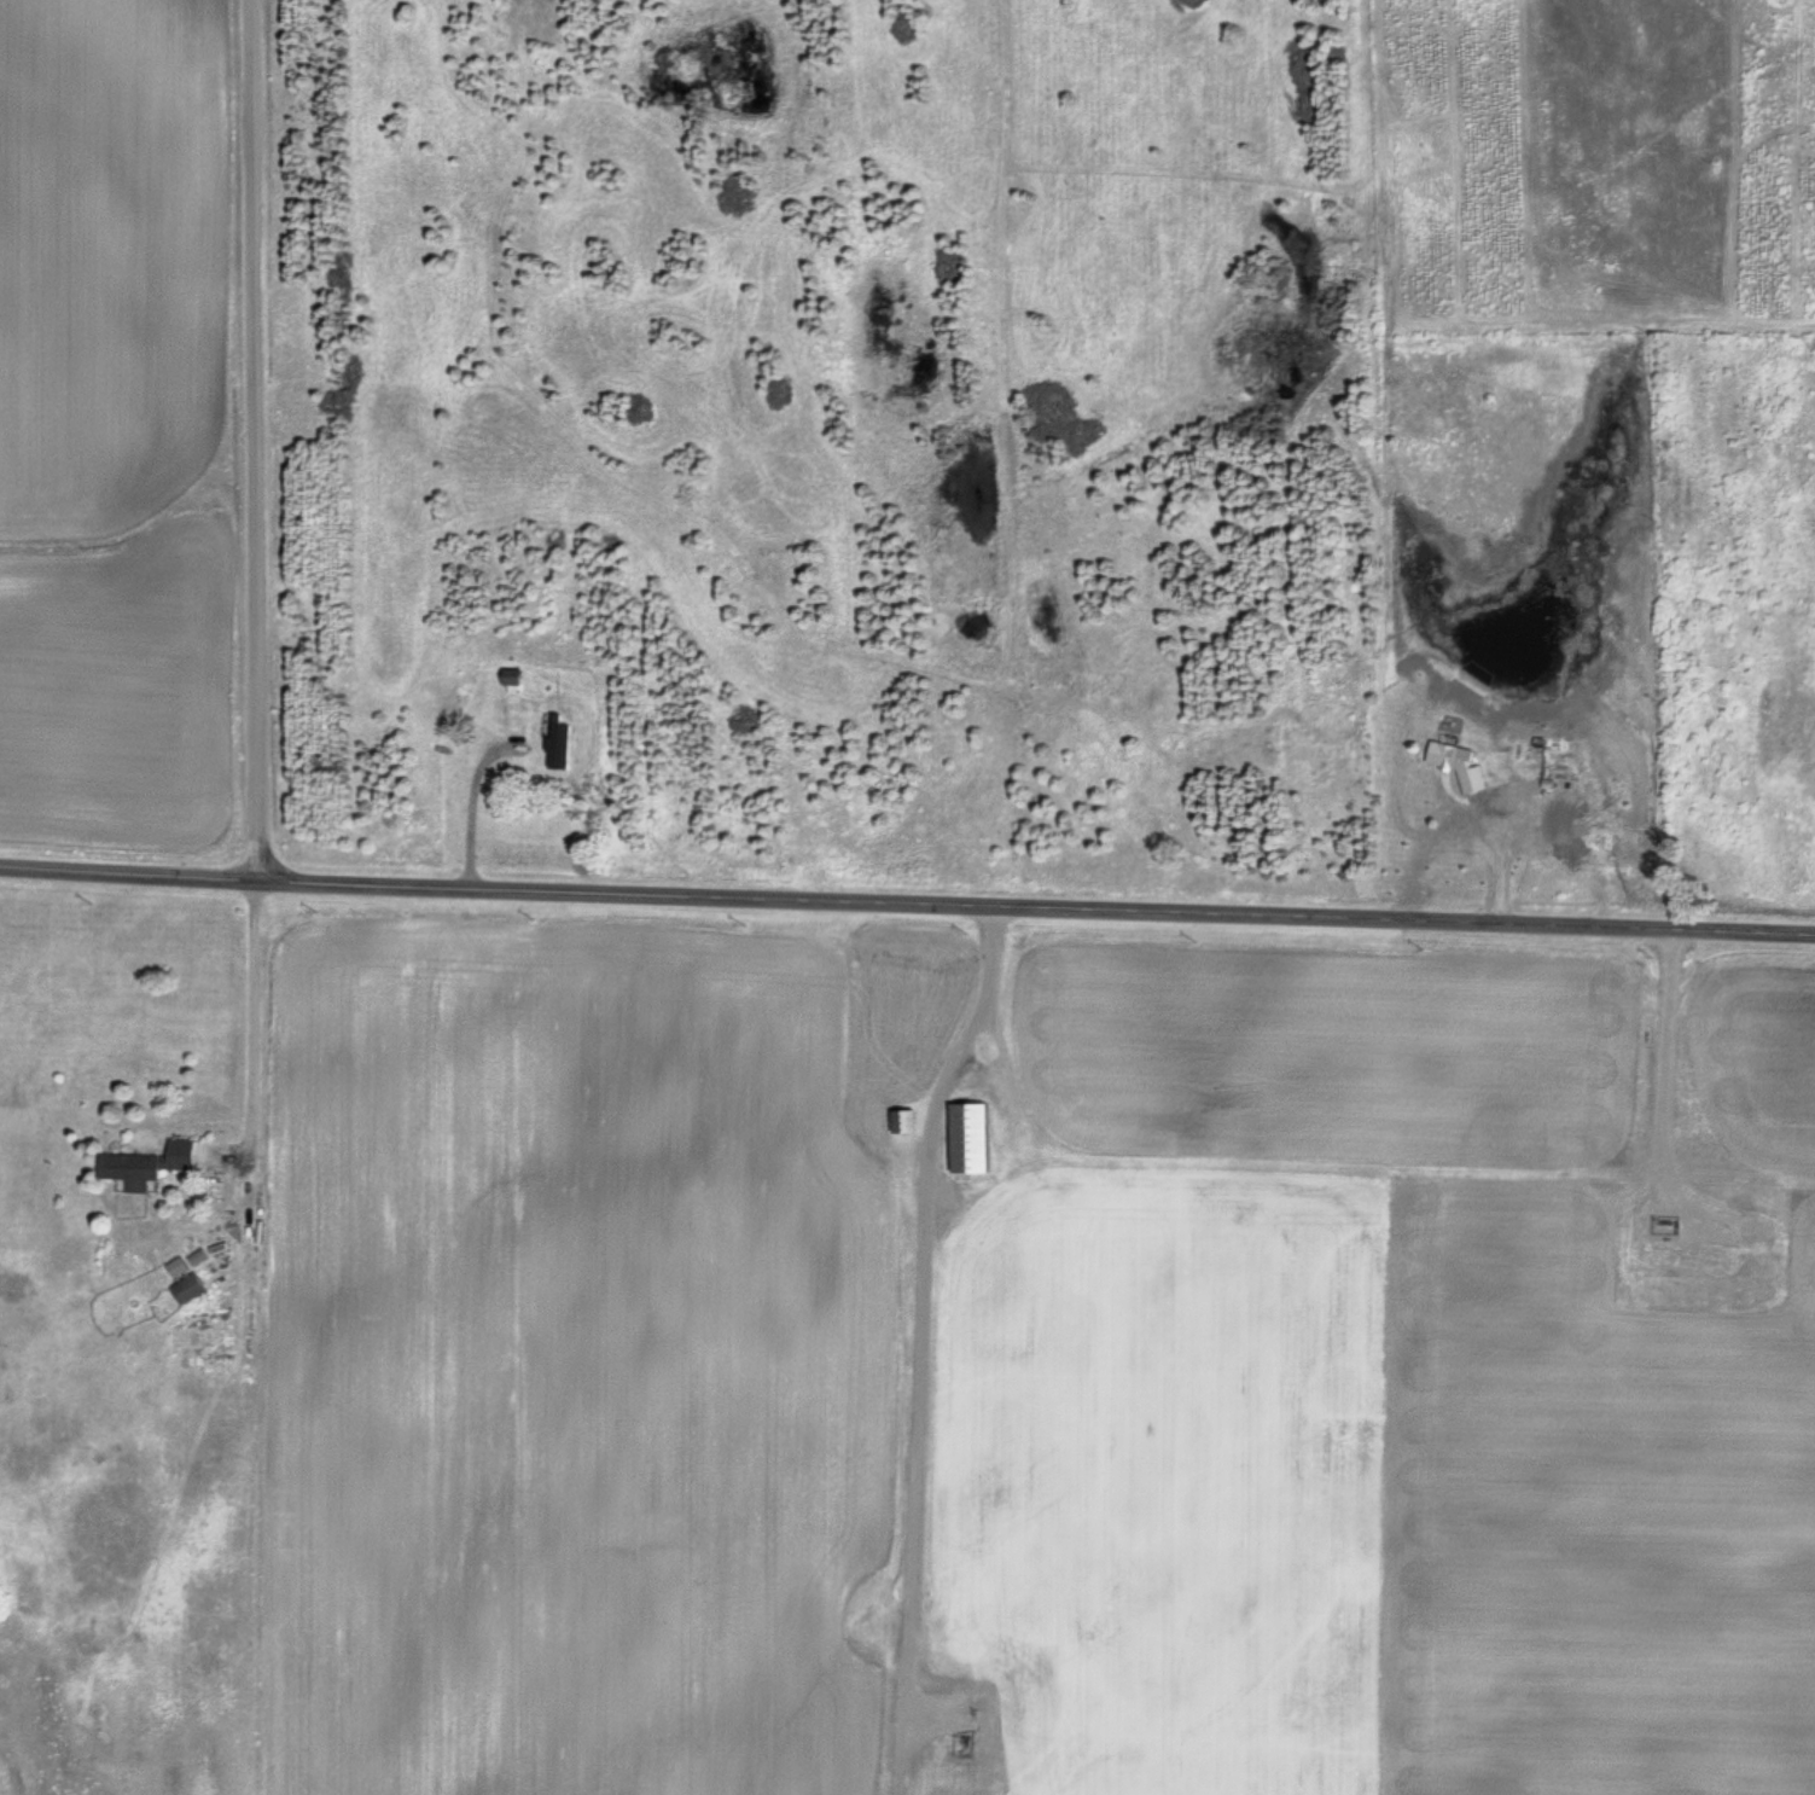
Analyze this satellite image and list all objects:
road: (254, 440)
building: (510, 679)
building: (558, 748)
road: (907, 901)
building: (903, 1122)
building: (966, 1138)
building: (145, 1166)
building: (186, 1290)

